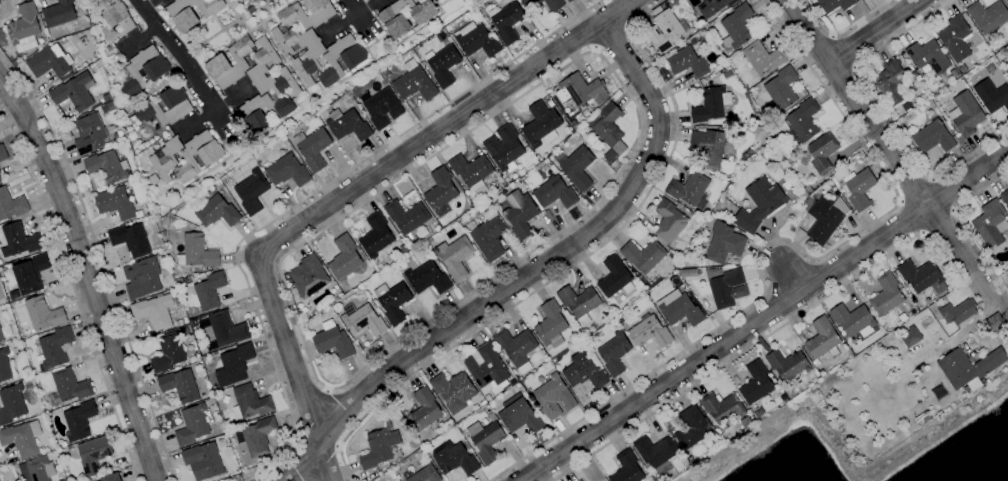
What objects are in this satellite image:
building: (436, 0)
building: (496, 1)
building: (569, 1)
building: (1007, 1)
road: (262, 2)
road: (148, 4)
building: (834, 4)
building: (554, 7)
building: (713, 7)
road: (231, 8)
building: (192, 12)
building: (59, 13)
road: (356, 13)
building: (987, 16)
building: (117, 18)
building: (303, 18)
road: (349, 18)
building: (393, 19)
building: (507, 21)
building: (736, 26)
road: (626, 27)
building: (25, 28)
road: (223, 29)
road: (840, 29)
road: (872, 30)
building: (665, 31)
road: (371, 35)
road: (609, 35)
road: (269, 36)
road: (141, 38)
building: (955, 38)
building: (476, 40)
road: (594, 48)
road: (591, 51)
road: (844, 51)
building: (927, 56)
building: (311, 57)
building: (762, 58)
road: (181, 59)
building: (340, 59)
building: (219, 60)
road: (371, 60)
building: (14, 62)
building: (50, 62)
building: (686, 62)
building: (443, 64)
building: (723, 65)
building: (261, 67)
building: (910, 67)
building: (1007, 68)
building: (962, 69)
building: (1007, 71)
building: (156, 72)
building: (385, 72)
building: (727, 75)
building: (414, 82)
building: (890, 82)
building: (781, 90)
building: (581, 91)
building: (74, 92)
building: (991, 96)
building: (107, 98)
building: (550, 102)
building: (710, 104)
building: (111, 106)
building: (180, 107)
building: (381, 107)
road: (215, 110)
building: (262, 112)
building: (586, 113)
road: (884, 113)
building: (965, 114)
building: (802, 122)
building: (607, 124)
building: (347, 125)
building: (541, 125)
road: (445, 126)
building: (90, 134)
building: (932, 137)
road: (883, 143)
building: (907, 143)
building: (911, 146)
building: (313, 148)
building: (504, 148)
building: (708, 148)
building: (822, 152)
building: (3, 153)
building: (198, 155)
building: (782, 156)
building: (165, 157)
building: (106, 166)
building: (578, 168)
building: (287, 171)
building: (472, 172)
building: (543, 172)
building: (1, 179)
building: (154, 180)
road: (912, 187)
building: (833, 188)
building: (859, 188)
building: (689, 189)
building: (807, 189)
building: (252, 192)
building: (440, 192)
building: (555, 192)
building: (836, 194)
road: (942, 195)
building: (1004, 197)
road: (298, 202)
building: (115, 203)
building: (11, 205)
building: (759, 205)
building: (217, 211)
building: (520, 213)
building: (406, 216)
road: (956, 216)
building: (823, 217)
road: (908, 218)
building: (668, 220)
road: (939, 224)
building: (990, 225)
building: (164, 234)
building: (376, 235)
building: (487, 238)
building: (19, 240)
building: (130, 240)
building: (428, 241)
road: (774, 242)
building: (723, 243)
building: (197, 252)
building: (643, 255)
building: (455, 257)
building: (344, 258)
road: (99, 260)
road: (573, 265)
building: (30, 274)
road: (526, 274)
road: (86, 276)
building: (309, 277)
building: (615, 277)
building: (921, 277)
building: (142, 278)
building: (427, 278)
road: (790, 279)
building: (728, 288)
building: (210, 290)
road: (75, 293)
building: (886, 295)
building: (393, 301)
building: (579, 302)
building: (602, 304)
building: (678, 308)
building: (154, 312)
building: (957, 312)
building: (43, 314)
road: (764, 316)
building: (363, 319)
building: (853, 320)
building: (179, 322)
building: (193, 323)
building: (551, 324)
building: (996, 325)
building: (227, 329)
building: (183, 330)
building: (650, 332)
road: (966, 332)
building: (5, 333)
building: (911, 338)
building: (333, 340)
road: (760, 340)
building: (822, 340)
building: (55, 347)
building: (516, 347)
building: (168, 352)
building: (614, 353)
building: (788, 363)
building: (4, 365)
building: (234, 365)
road: (294, 367)
building: (487, 368)
building: (968, 368)
building: (585, 370)
building: (822, 372)
building: (756, 382)
building: (69, 385)
building: (180, 385)
building: (454, 390)
road: (326, 391)
building: (554, 397)
building: (250, 402)
building: (482, 403)
building: (11, 404)
building: (723, 408)
building: (424, 410)
building: (488, 410)
building: (758, 412)
building: (519, 415)
building: (922, 418)
road: (330, 419)
building: (79, 420)
building: (193, 424)
building: (692, 427)
building: (257, 436)
building: (22, 438)
building: (486, 440)
building: (62, 442)
building: (380, 446)
road: (336, 447)
building: (423, 452)
building: (656, 452)
building: (94, 455)
building: (454, 458)
building: (203, 461)
road: (322, 464)
building: (627, 468)
building: (37, 470)
building: (422, 474)
building: (111, 477)
building: (580, 480)

